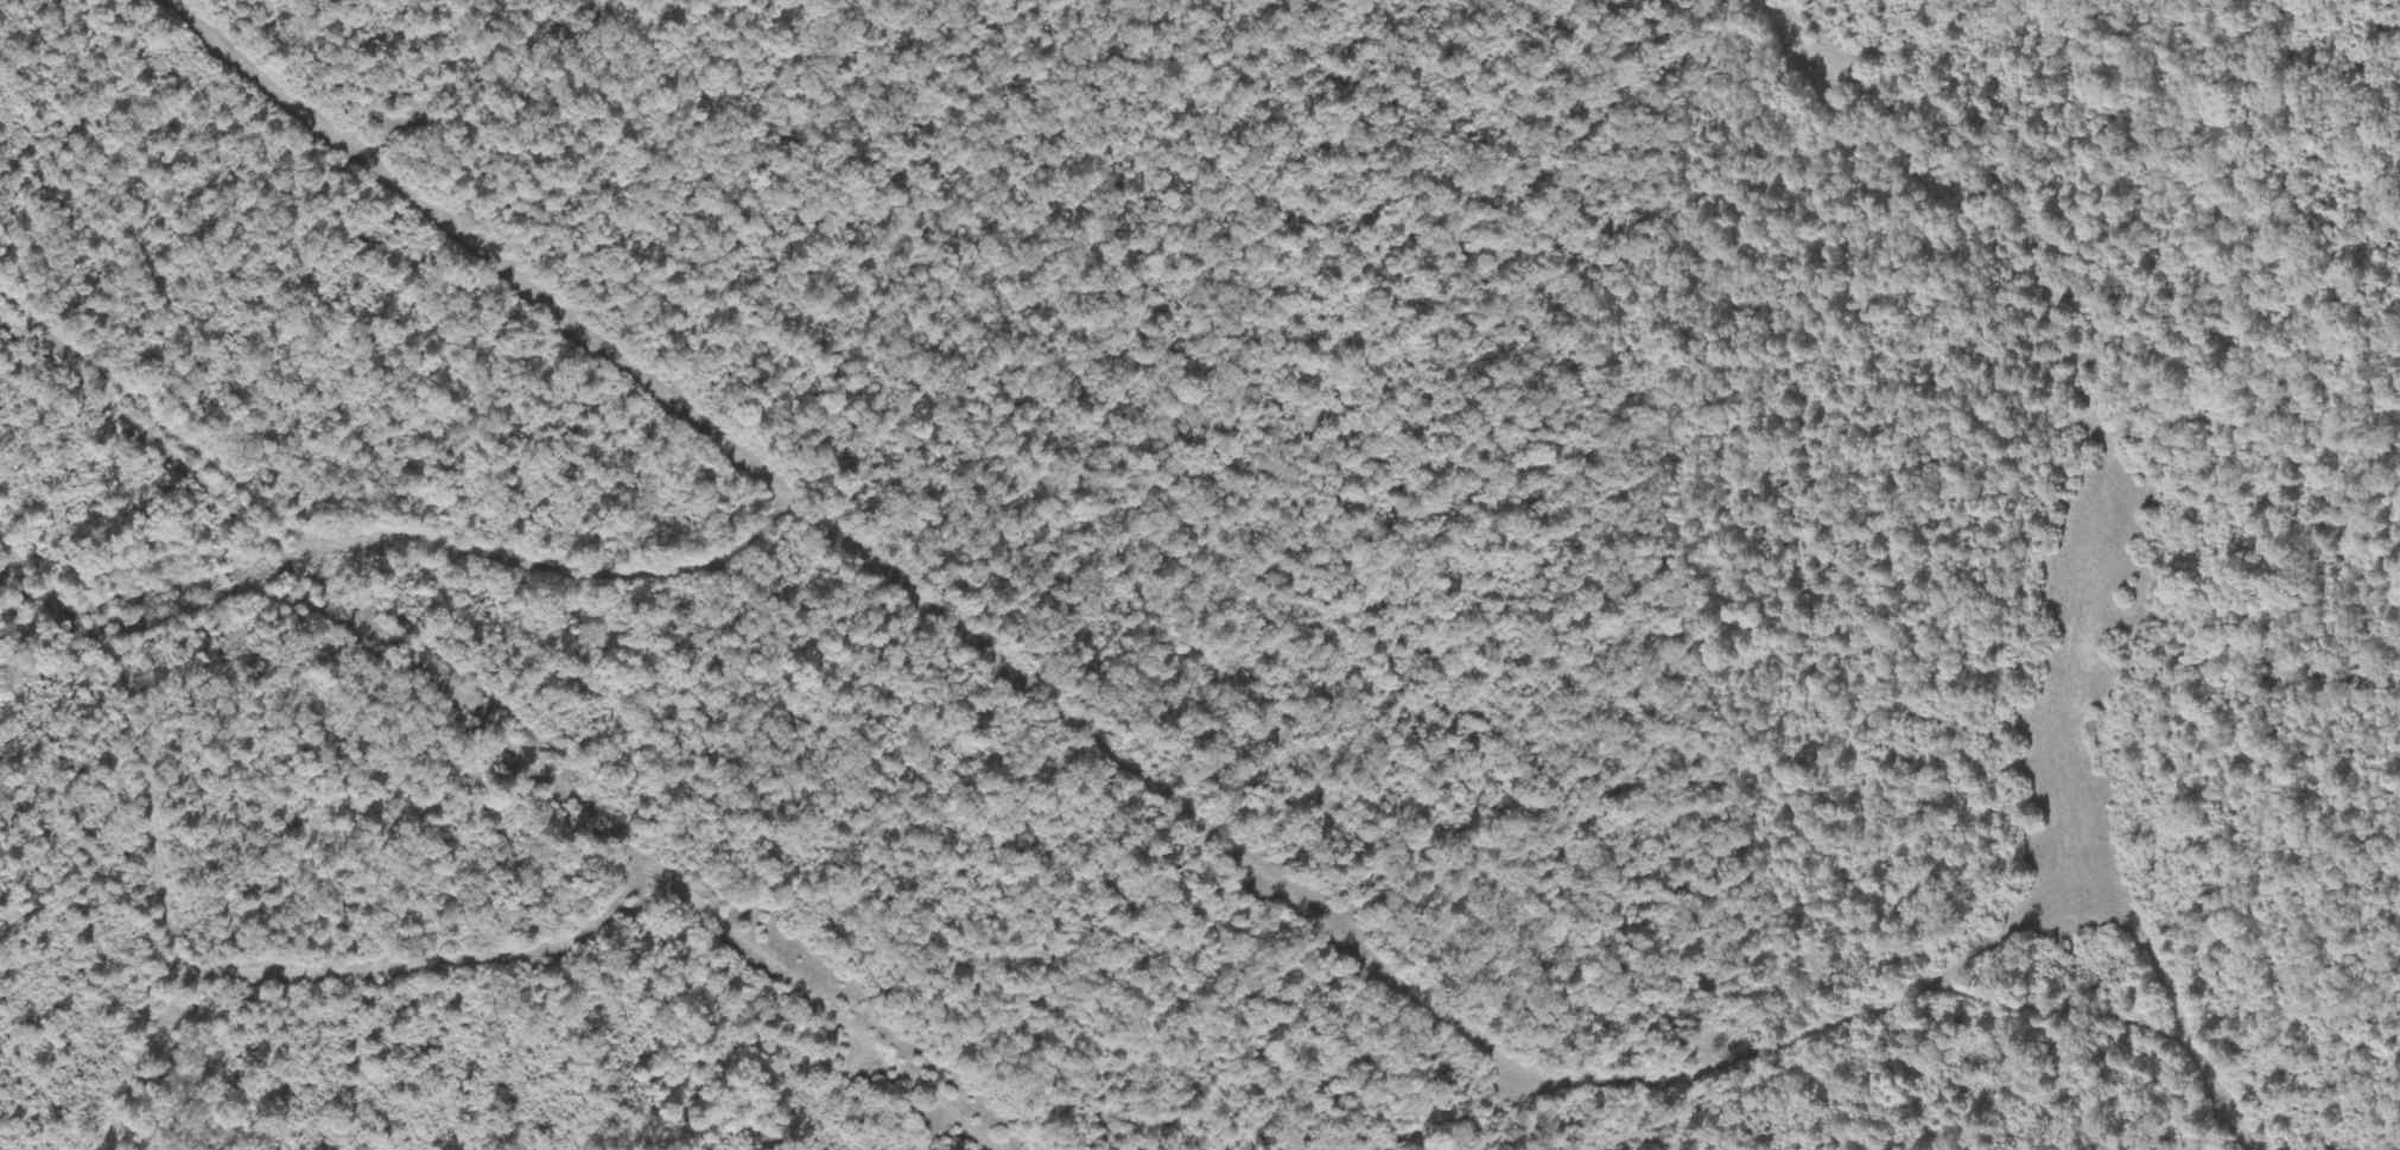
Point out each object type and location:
road: (159, 608)

